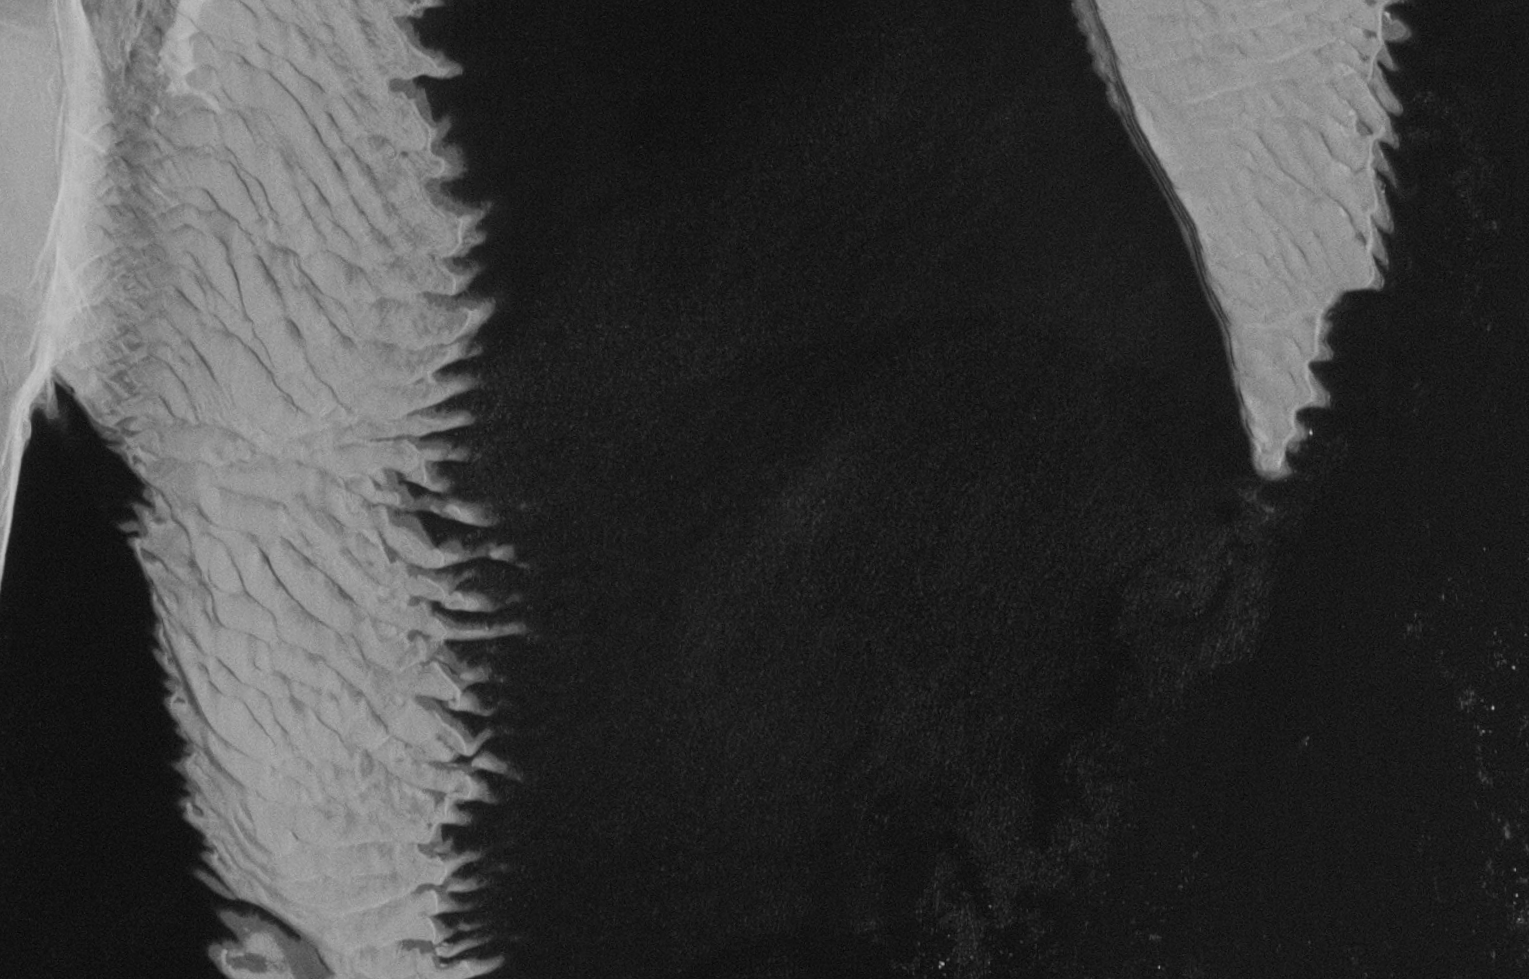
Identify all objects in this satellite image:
river: (1317, 489)

